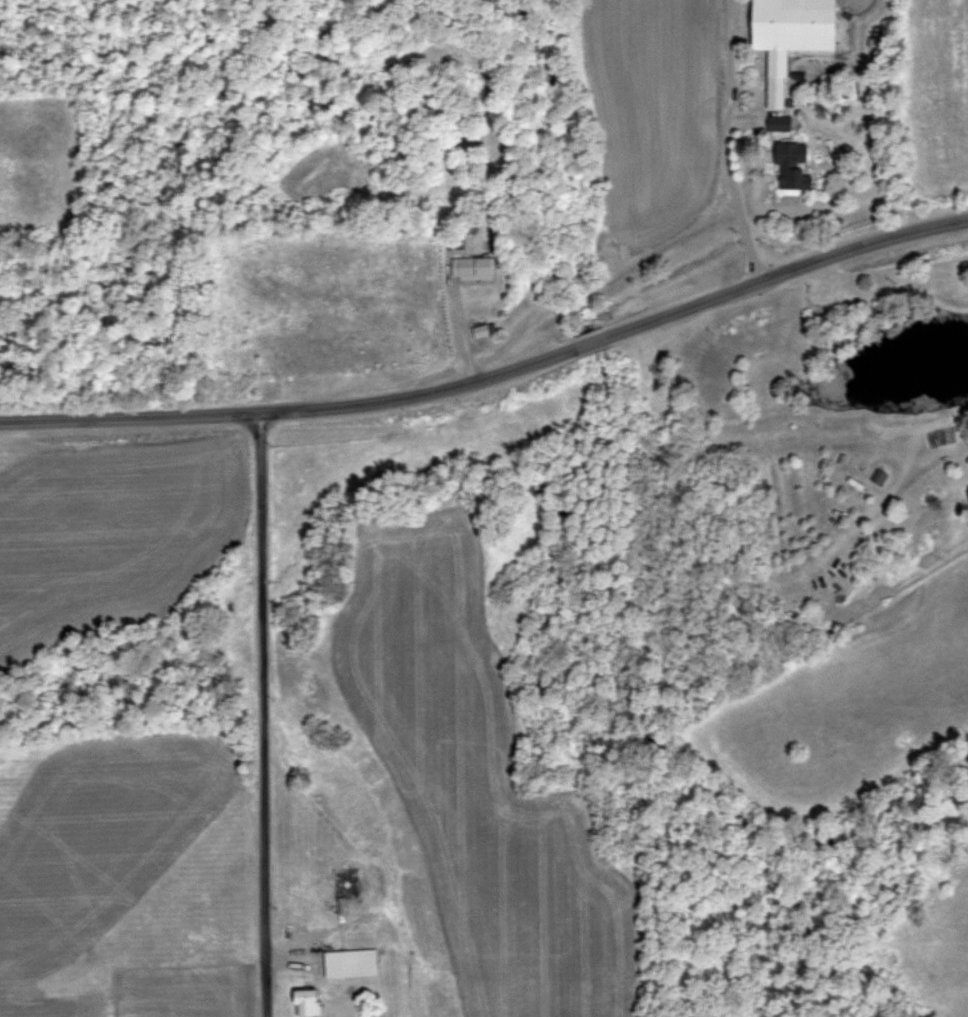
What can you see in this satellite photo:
building: (792, 36)
building: (780, 123)
road: (725, 142)
building: (794, 167)
building: (473, 269)
road: (458, 327)
road: (493, 371)
building: (881, 474)
road: (263, 712)
building: (356, 883)
road: (315, 936)
building: (352, 963)
building: (308, 1003)

